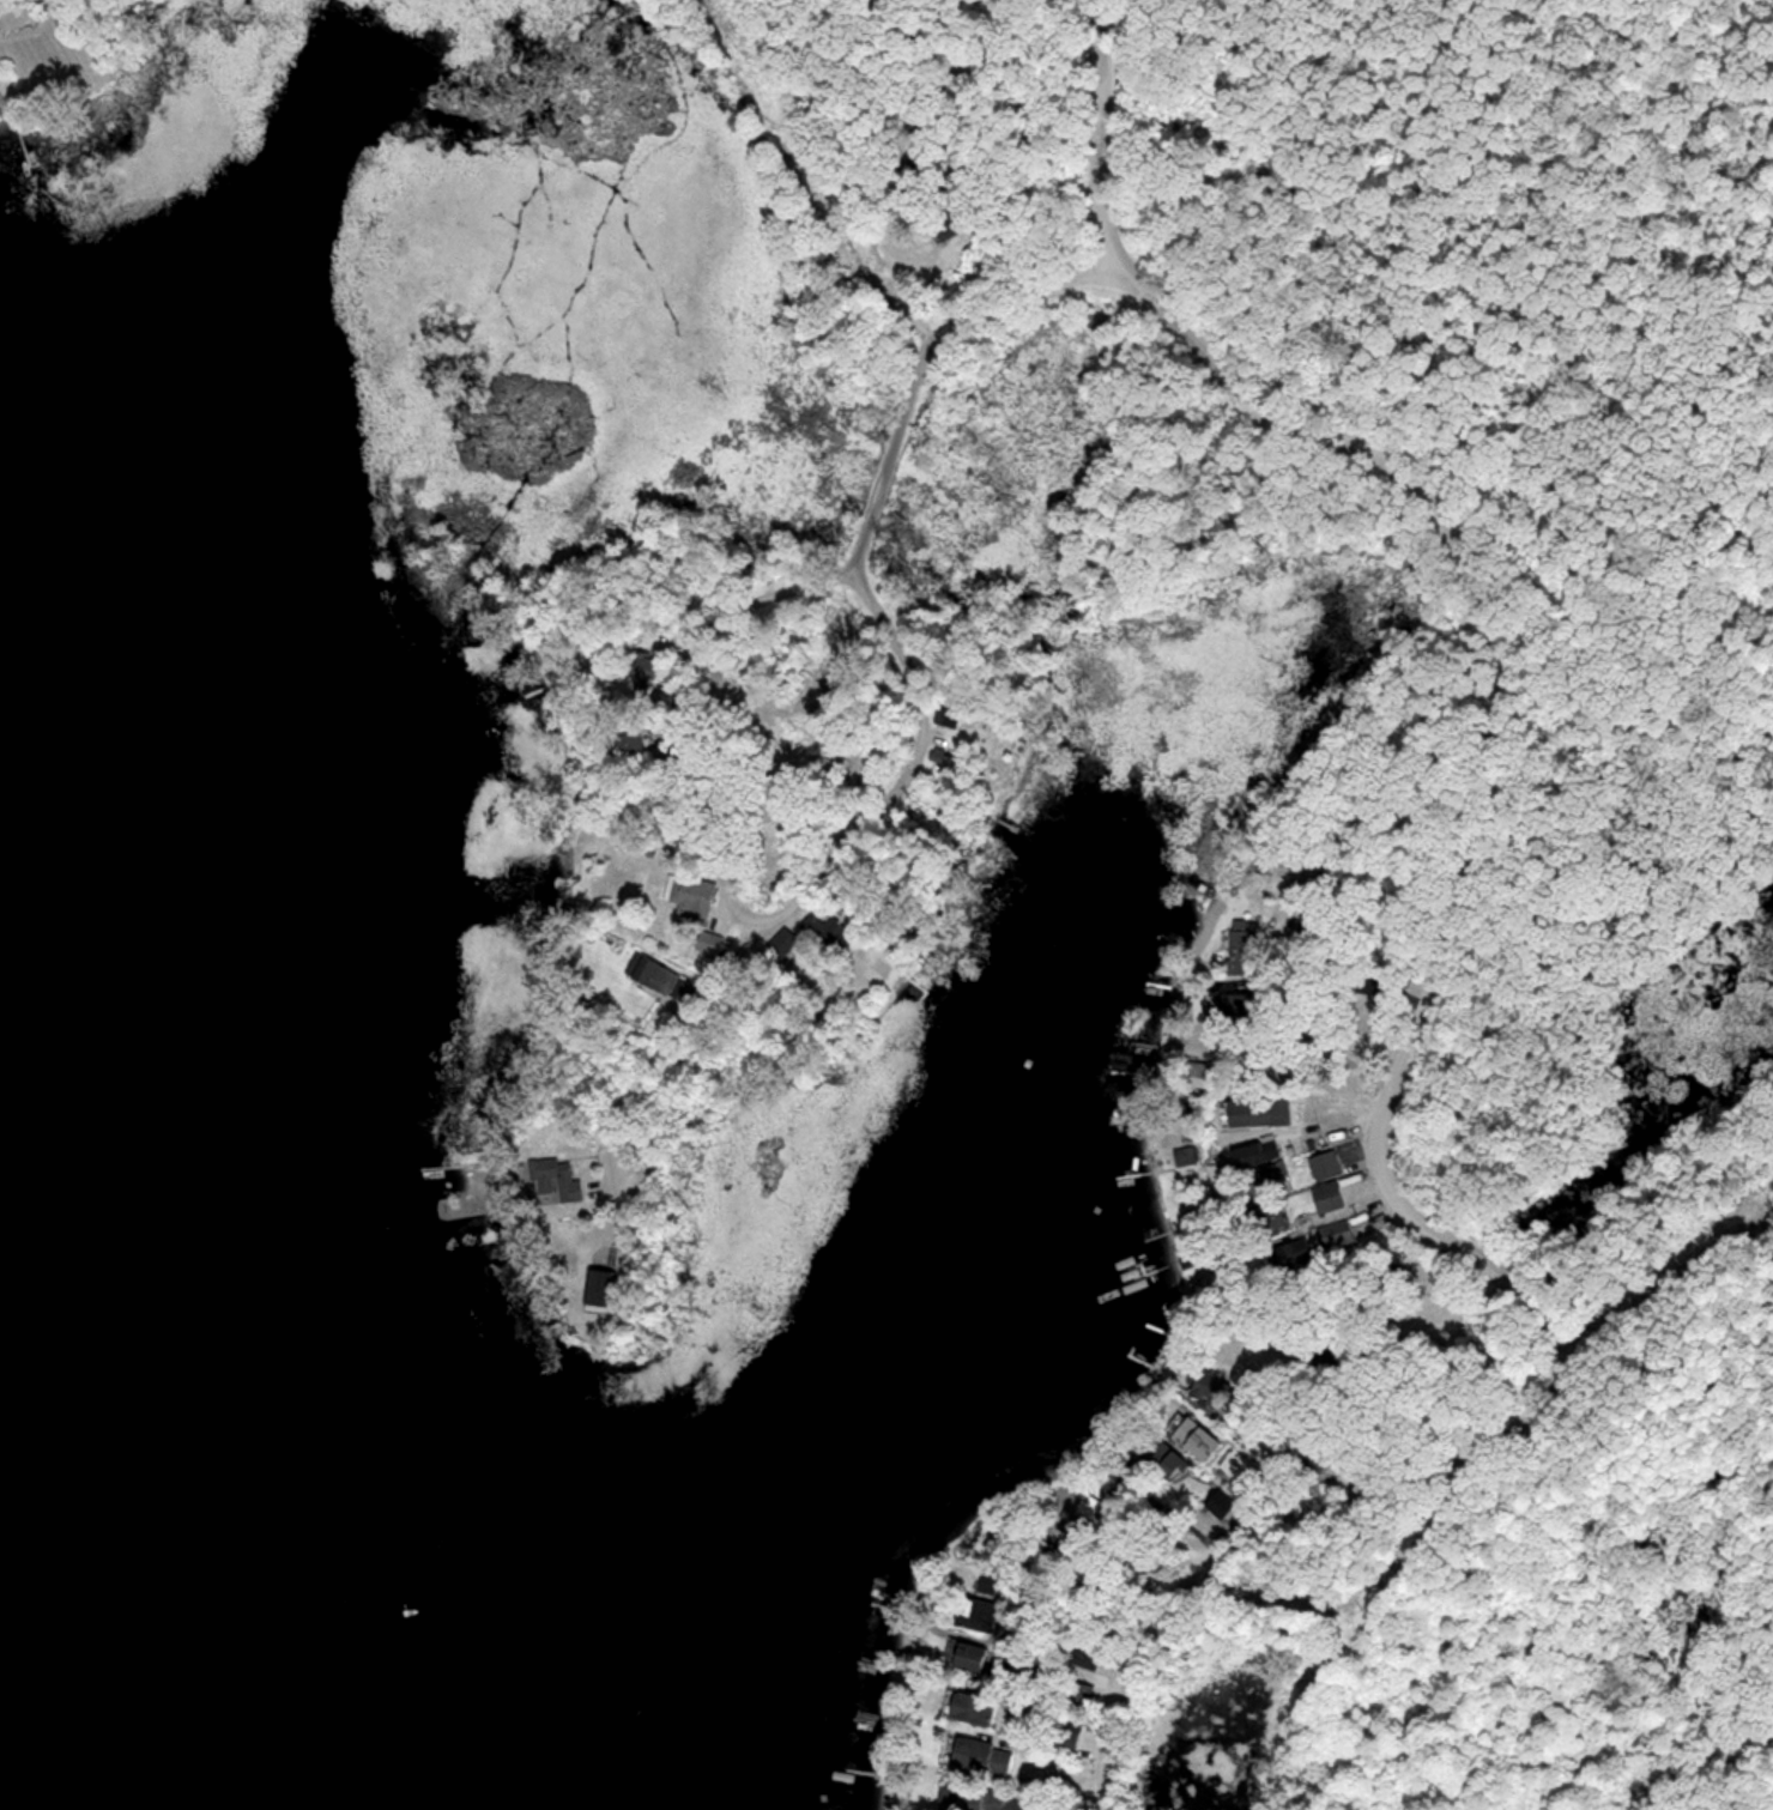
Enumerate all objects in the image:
park: (658, 1)
road: (1000, 28)
park: (63, 49)
road: (1107, 129)
road: (894, 150)
road: (848, 165)
building: (914, 176)
building: (945, 225)
road: (1028, 291)
road: (928, 350)
road: (886, 470)
road: (852, 567)
road: (928, 714)
building: (944, 716)
building: (618, 741)
park: (1485, 791)
building: (686, 897)
building: (824, 931)
building: (703, 940)
building: (779, 944)
building: (1240, 950)
building: (655, 977)
road: (1327, 992)
building: (1234, 1004)
building: (1198, 1075)
road: (1400, 1094)
building: (1252, 1110)
building: (1252, 1152)
building: (1182, 1155)
building: (1324, 1164)
building: (1271, 1179)
building: (556, 1180)
building: (1325, 1197)
building: (1332, 1234)
building: (1285, 1253)
building: (593, 1287)
building: (1204, 1385)
building: (1193, 1437)
building: (1160, 1457)
road: (1288, 1466)
building: (1217, 1503)
road: (1184, 1520)
building: (988, 1581)
road: (1097, 1593)
building: (973, 1614)
building: (1078, 1655)
building: (966, 1657)
building: (1079, 1696)
building: (967, 1708)
building: (1060, 1739)
building: (978, 1756)
building: (980, 1799)

